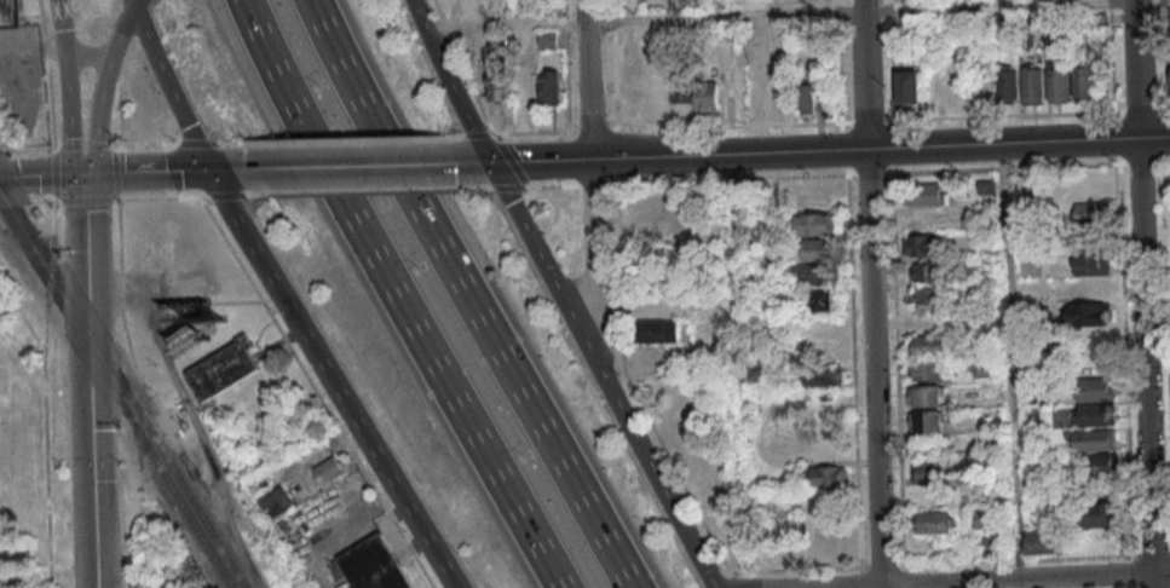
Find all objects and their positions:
road: (129, 4)
road: (134, 4)
road: (999, 4)
building: (473, 7)
road: (717, 10)
building: (10, 13)
road: (797, 16)
road: (58, 25)
road: (119, 33)
building: (753, 35)
road: (85, 56)
road: (587, 79)
road: (448, 82)
building: (500, 82)
building: (657, 83)
building: (1007, 83)
building: (1082, 83)
building: (1032, 85)
building: (1057, 85)
building: (525, 87)
building: (549, 87)
road: (169, 88)
building: (907, 88)
building: (681, 91)
building: (808, 96)
building: (779, 97)
building: (707, 98)
road: (73, 114)
road: (94, 117)
road: (1153, 138)
road: (793, 152)
traffic signals: (490, 163)
road: (344, 167)
traffic signals: (209, 171)
road: (225, 171)
road: (145, 173)
road: (40, 175)
traffic signals: (82, 175)
road: (219, 190)
building: (923, 195)
building: (1090, 212)
building: (817, 224)
road: (521, 225)
road: (593, 226)
building: (668, 234)
building: (921, 244)
building: (818, 249)
building: (1091, 263)
building: (923, 271)
building: (814, 275)
road: (1141, 293)
road: (869, 294)
road: (461, 295)
road: (392, 296)
building: (926, 298)
building: (823, 299)
building: (1088, 313)
road: (596, 330)
building: (659, 330)
building: (924, 345)
building: (223, 369)
building: (927, 370)
building: (823, 376)
road: (87, 381)
railway: (122, 384)
railway: (116, 394)
building: (926, 396)
road: (341, 399)
building: (927, 420)
road: (634, 437)
building: (1093, 439)
building: (1101, 463)
traffic signals: (90, 467)
building: (329, 471)
building: (930, 471)
building: (824, 475)
building: (823, 501)
building: (277, 502)
building: (1095, 514)
building: (984, 519)
building: (934, 521)
building: (823, 542)
building: (1041, 542)
building: (15, 554)
building: (373, 565)
road: (992, 580)
building: (13, 581)

